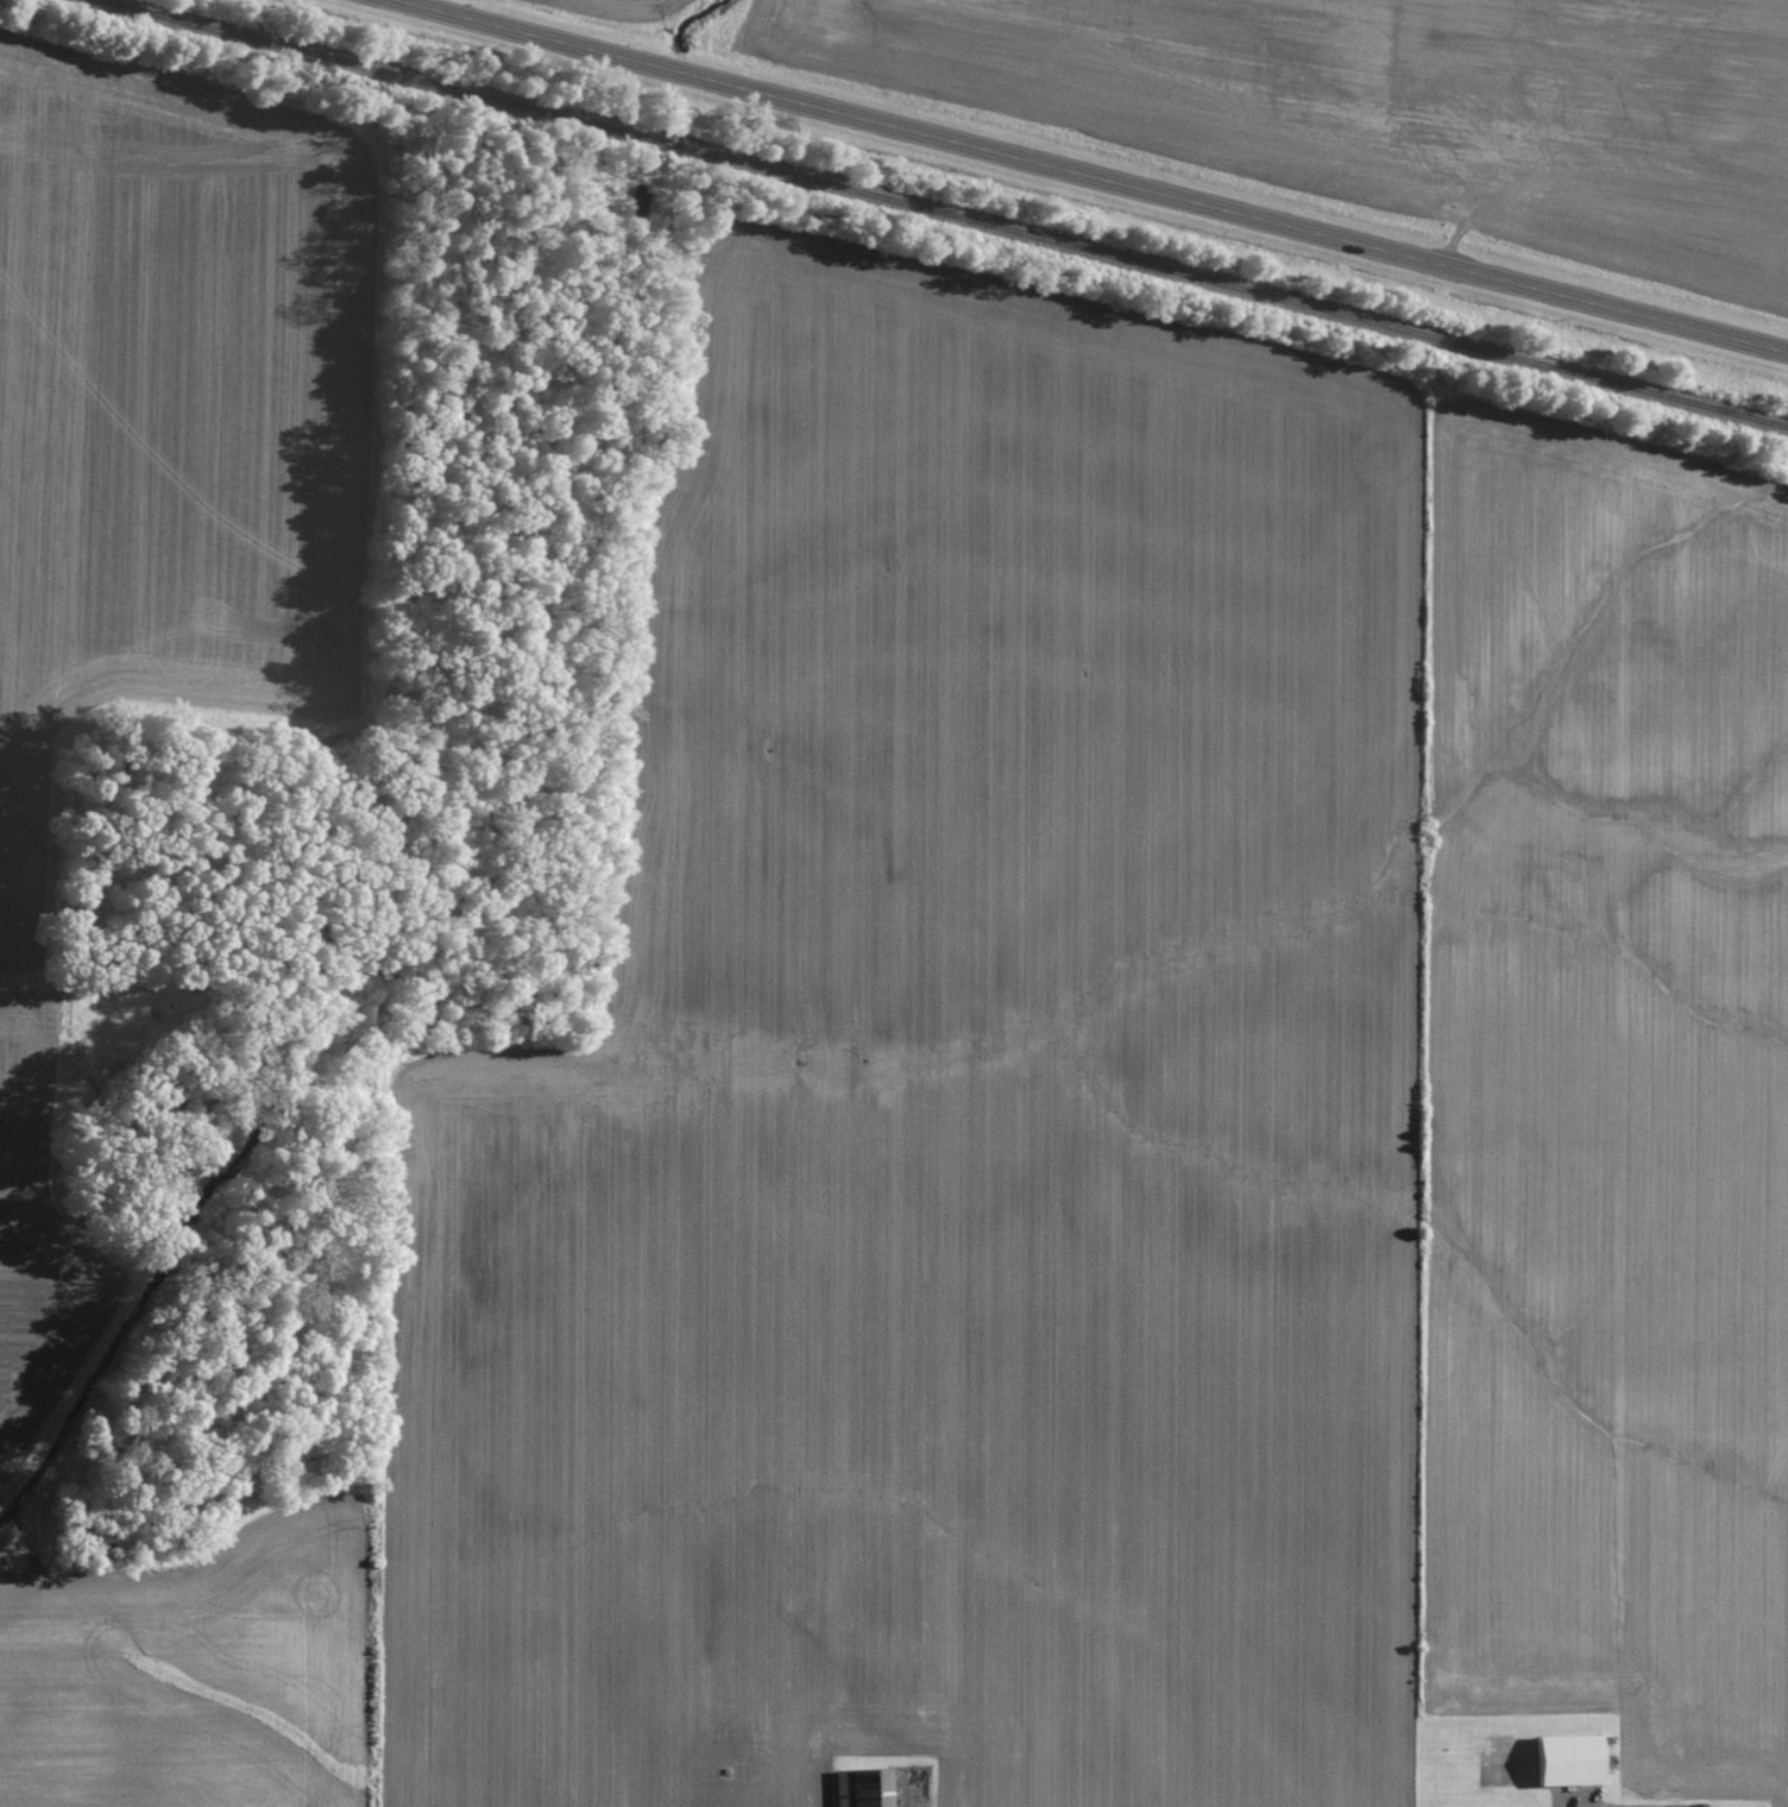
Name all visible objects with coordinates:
road: (1084, 178)
railway: (936, 216)
building: (1574, 1761)
building: (868, 1788)

